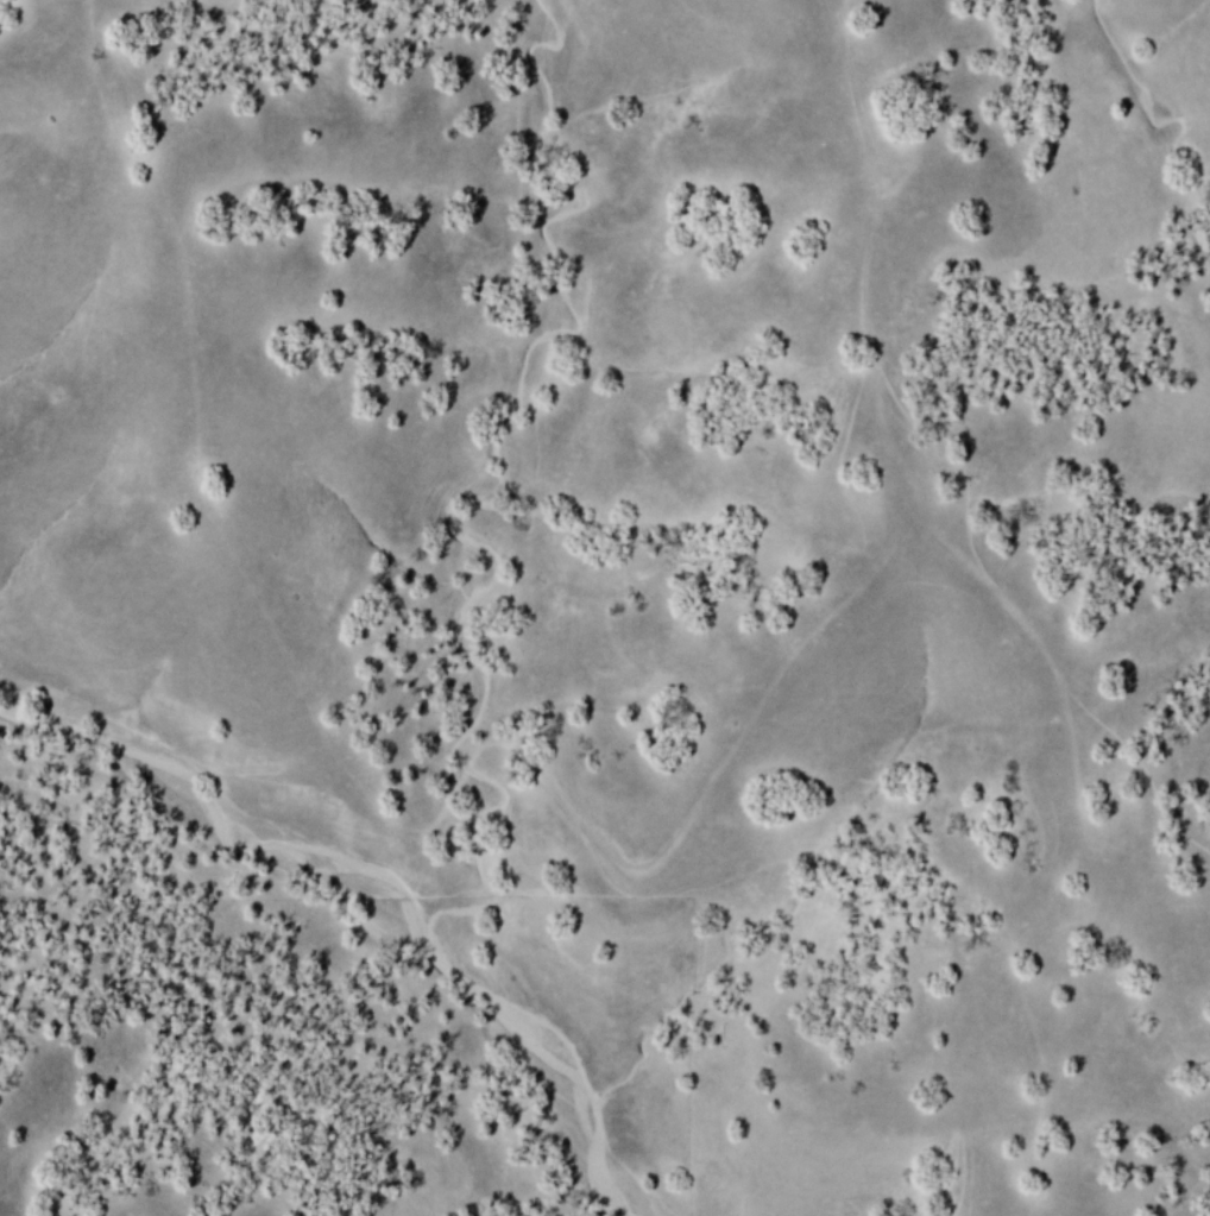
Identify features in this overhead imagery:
road: (941, 535)

